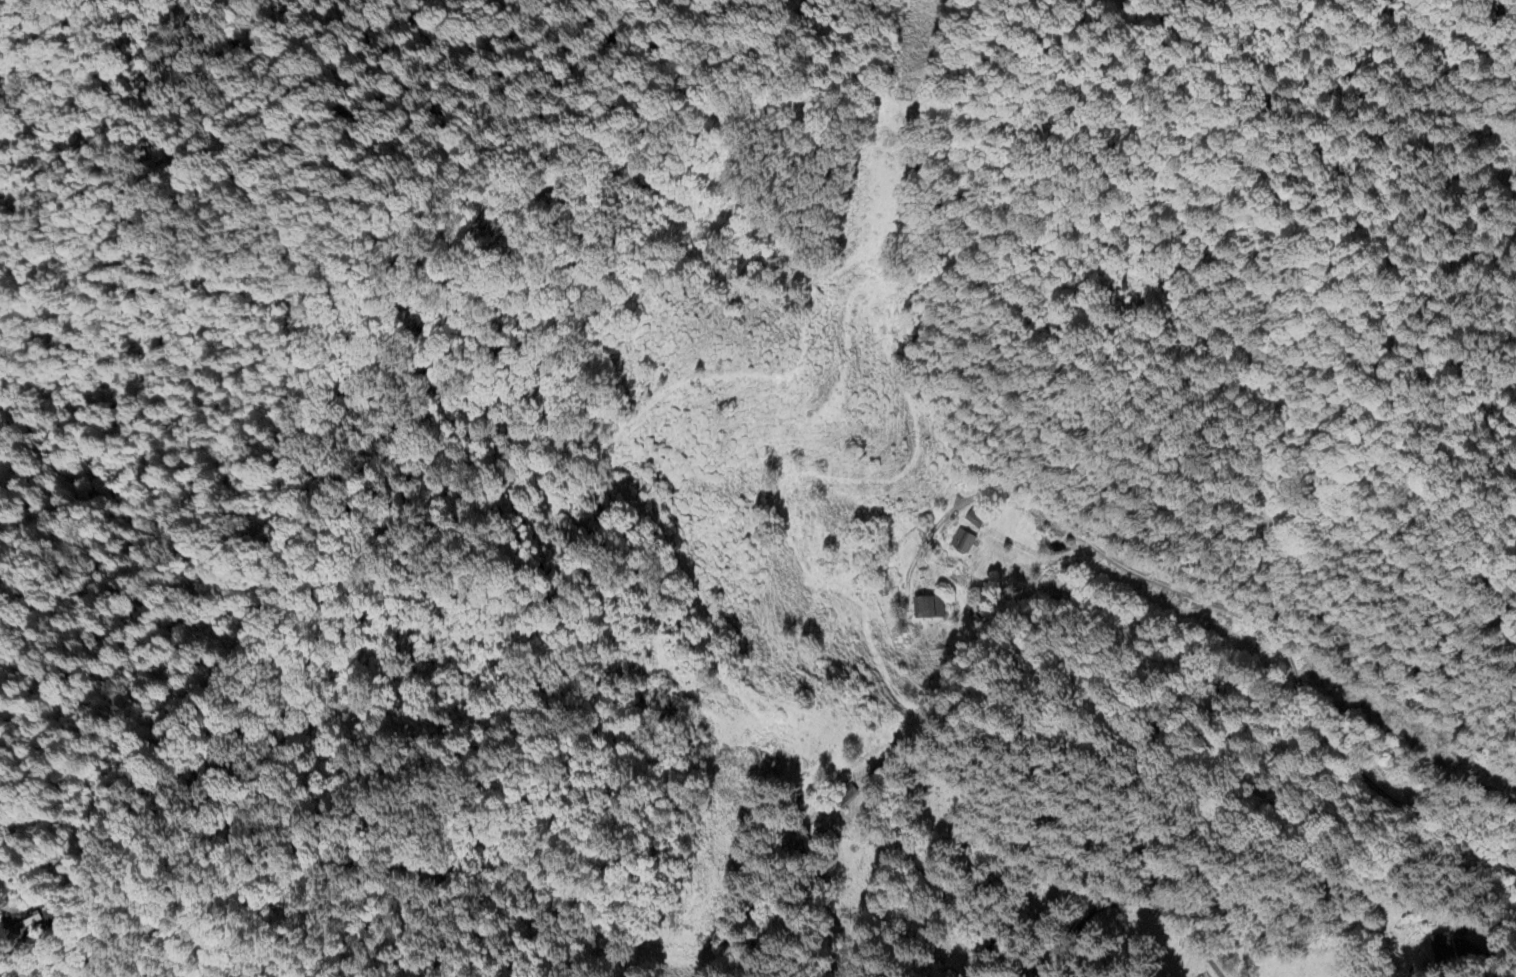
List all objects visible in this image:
road: (1428, 210)
building: (974, 519)
building: (963, 542)
building: (928, 607)
building: (844, 797)
road: (1130, 902)
road: (6, 937)
building: (1452, 946)
road: (1482, 963)

